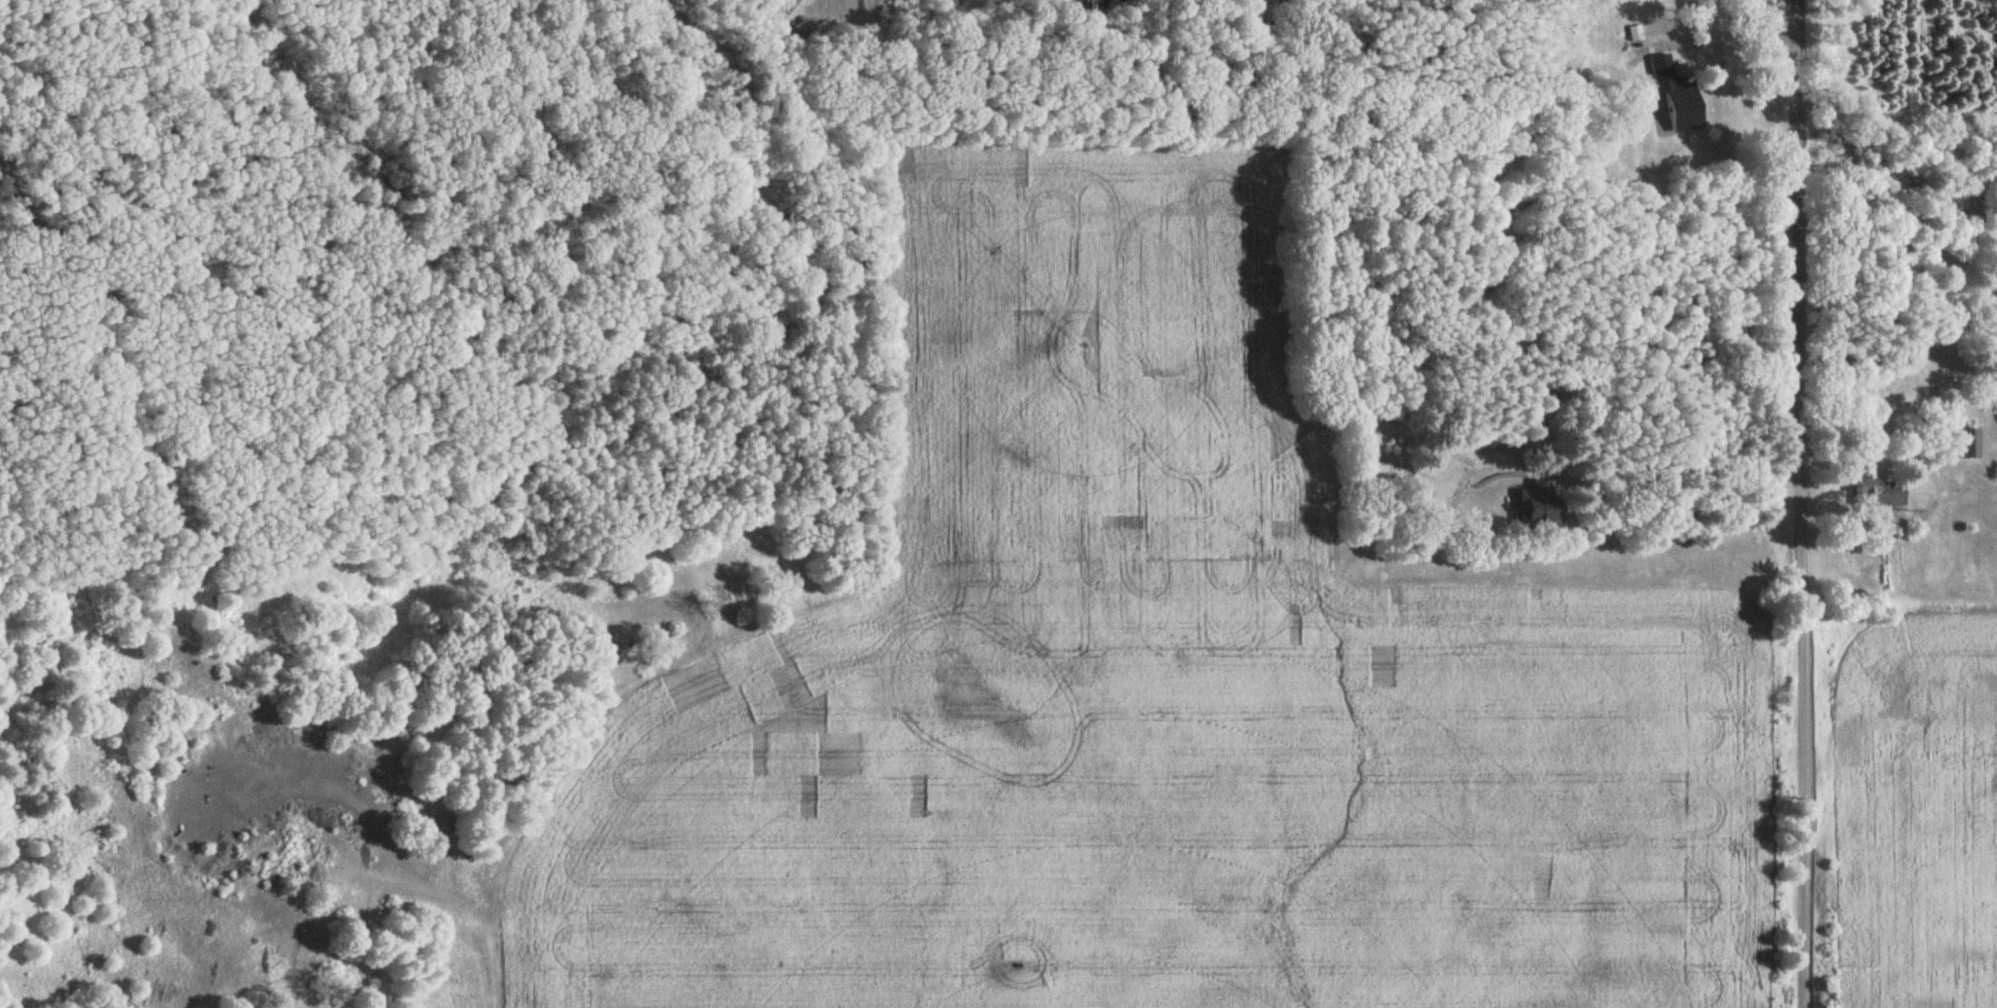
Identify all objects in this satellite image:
quarry: (1026, 21)
building: (803, 28)
quarry: (1772, 28)
road: (1766, 29)
road: (964, 43)
road: (1711, 45)
building: (1676, 94)
building: (1968, 443)
building: (1884, 493)
building: (1537, 504)
road: (1801, 504)
road: (1667, 528)
road: (430, 920)

